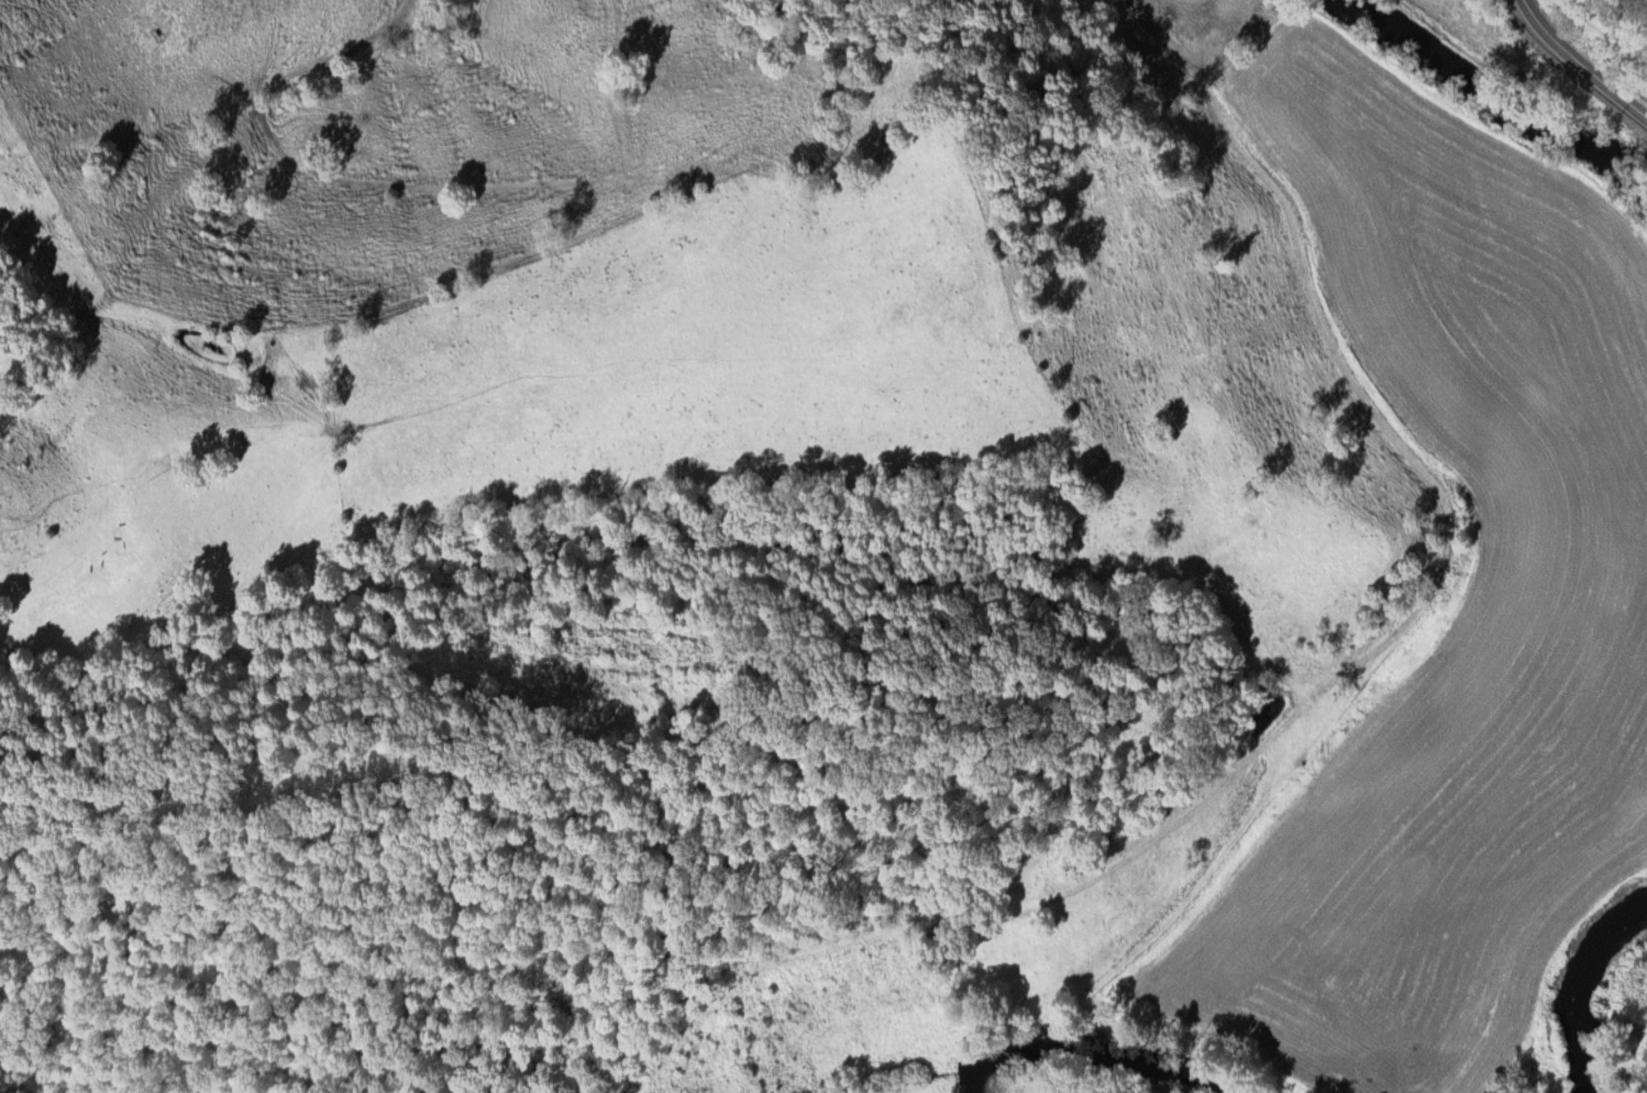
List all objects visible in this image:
road: (1142, 7)
road: (1580, 60)
road: (268, 80)
river: (1515, 84)
road: (674, 169)
crop: (1408, 627)
road: (1328, 686)
river: (1585, 995)
river: (1131, 1039)

